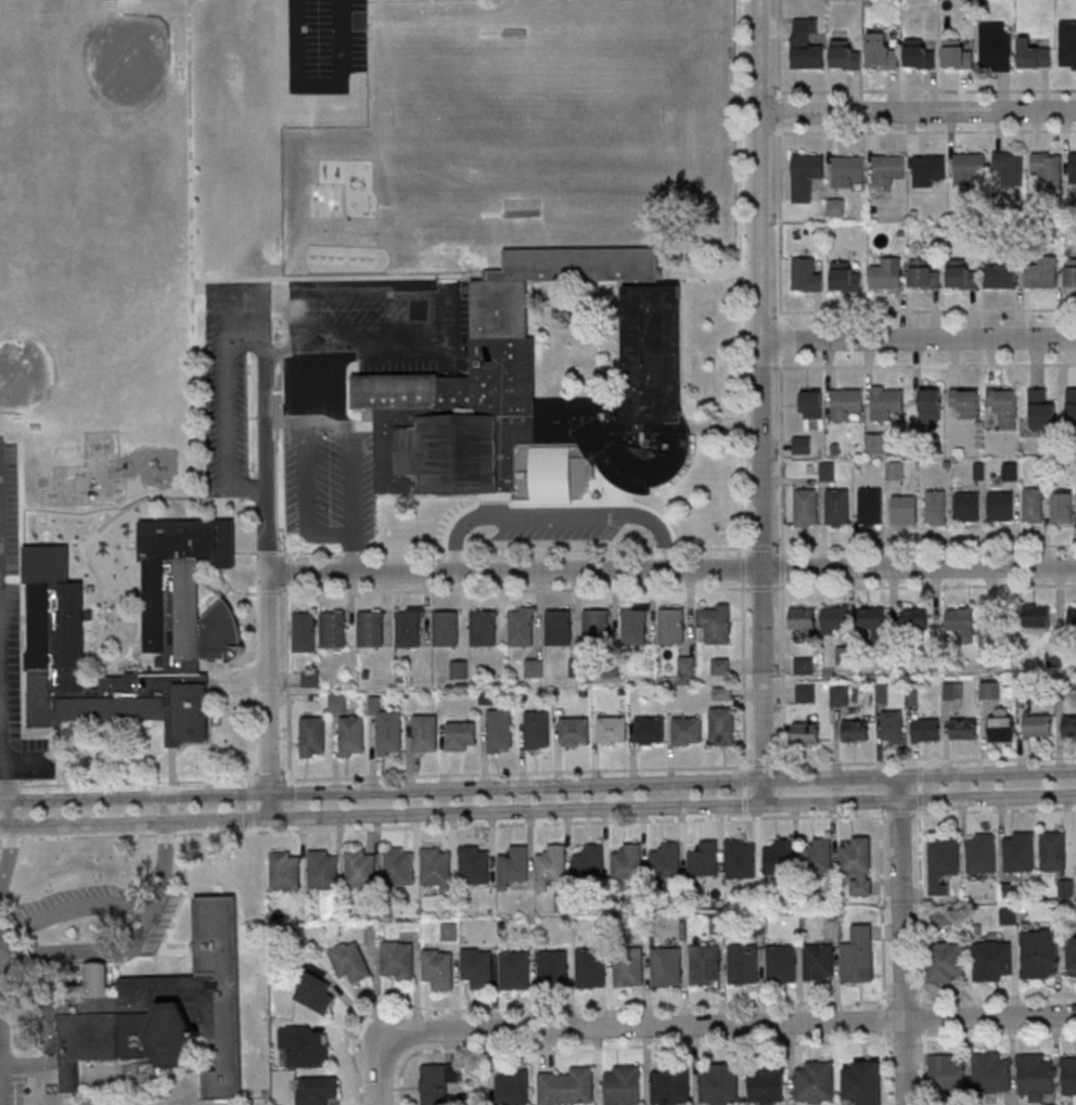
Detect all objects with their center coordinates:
parking lot: (325, 44)
building: (805, 44)
building: (1067, 44)
building: (995, 48)
road: (778, 49)
building: (881, 50)
park: (130, 52)
building: (957, 53)
building: (844, 54)
building: (919, 54)
building: (1033, 54)
park: (126, 62)
road: (319, 85)
road: (927, 90)
road: (919, 111)
road: (779, 112)
park: (528, 118)
road: (924, 131)
road: (759, 133)
road: (743, 134)
building: (969, 167)
building: (1046, 167)
building: (1073, 167)
building: (1009, 168)
building: (887, 169)
building: (928, 169)
building: (847, 170)
building: (806, 175)
park: (325, 200)
building: (836, 207)
road: (779, 226)
road: (191, 249)
building: (1042, 272)
road: (703, 273)
building: (886, 273)
building: (1002, 273)
building: (806, 274)
building: (923, 274)
building: (961, 274)
building: (1071, 275)
building: (845, 277)
road: (340, 278)
road: (739, 278)
road: (424, 288)
road: (924, 311)
road: (744, 312)
road: (760, 312)
road: (226, 313)
parking lot: (385, 327)
road: (919, 336)
road: (247, 337)
road: (781, 339)
building: (502, 355)
road: (265, 356)
road: (924, 364)
road: (760, 367)
road: (744, 368)
park: (25, 371)
parking lot: (230, 378)
road: (763, 389)
building: (965, 402)
building: (812, 403)
building: (886, 403)
building: (1071, 403)
building: (846, 404)
building: (931, 406)
building: (1004, 407)
building: (1041, 410)
road: (718, 426)
road: (227, 429)
building: (876, 442)
building: (803, 444)
road: (781, 453)
building: (895, 470)
building: (827, 471)
building: (1011, 471)
parking lot: (329, 477)
road: (276, 491)
road: (225, 500)
road: (494, 501)
road: (604, 503)
building: (1033, 504)
building: (966, 505)
building: (1001, 505)
building: (1063, 505)
building: (870, 506)
building: (936, 506)
building: (805, 507)
building: (837, 507)
road: (90, 509)
road: (22, 510)
road: (142, 510)
building: (904, 510)
road: (219, 511)
road: (56, 512)
road: (558, 515)
road: (452, 521)
road: (106, 522)
parking lot: (558, 528)
road: (46, 536)
road: (342, 537)
road: (924, 545)
road: (763, 549)
road: (515, 551)
road: (244, 552)
road: (267, 552)
road: (351, 555)
road: (293, 556)
road: (87, 561)
road: (742, 567)
road: (782, 567)
road: (672, 569)
road: (79, 570)
road: (132, 573)
road: (293, 573)
road: (11, 579)
road: (925, 584)
building: (89, 588)
road: (232, 588)
road: (293, 589)
road: (763, 589)
road: (514, 590)
road: (267, 592)
building: (1038, 615)
building: (1072, 616)
building: (835, 618)
building: (914, 618)
building: (872, 619)
road: (88, 621)
building: (715, 621)
building: (803, 622)
building: (962, 622)
road: (124, 626)
building: (409, 626)
building: (523, 626)
building: (635, 626)
building: (671, 626)
building: (559, 627)
building: (372, 628)
building: (446, 628)
building: (484, 628)
building: (597, 628)
building: (333, 629)
building: (192, 631)
building: (305, 631)
building: (992, 634)
parking lot: (14, 641)
road: (88, 643)
building: (687, 665)
building: (720, 665)
building: (534, 667)
building: (460, 669)
road: (241, 672)
road: (782, 672)
road: (743, 677)
parking lot: (226, 678)
building: (310, 678)
road: (271, 682)
road: (287, 686)
building: (990, 690)
building: (722, 693)
building: (840, 694)
road: (23, 699)
building: (337, 704)
building: (1001, 724)
building: (721, 725)
building: (892, 725)
building: (1037, 725)
building: (1069, 725)
building: (387, 728)
building: (963, 728)
road: (57, 729)
building: (537, 729)
building: (926, 729)
building: (500, 730)
building: (612, 730)
building: (649, 730)
building: (687, 730)
building: (856, 730)
building: (574, 731)
building: (425, 732)
building: (806, 733)
building: (461, 735)
building: (312, 736)
building: (351, 736)
road: (928, 760)
road: (30, 763)
road: (920, 764)
road: (172, 766)
road: (761, 766)
road: (779, 766)
road: (515, 772)
road: (920, 772)
road: (919, 774)
road: (8, 775)
road: (268, 780)
road: (743, 780)
road: (127, 783)
road: (248, 783)
road: (575, 783)
road: (919, 786)
road: (330, 789)
road: (765, 792)
road: (222, 793)
road: (743, 793)
road: (248, 794)
road: (85, 797)
road: (919, 800)
road: (921, 800)
road: (743, 805)
road: (274, 806)
road: (248, 807)
road: (169, 809)
road: (994, 810)
road: (575, 811)
road: (10, 813)
road: (899, 813)
road: (743, 815)
road: (248, 818)
road: (330, 818)
road: (221, 821)
road: (89, 825)
road: (443, 827)
road: (5, 828)
road: (249, 830)
building: (1054, 850)
building: (1017, 851)
building: (982, 852)
building: (817, 855)
road: (5, 856)
building: (779, 857)
building: (741, 858)
building: (704, 859)
building: (666, 860)
building: (590, 861)
building: (627, 861)
building: (943, 862)
building: (474, 864)
building: (858, 864)
building: (399, 865)
building: (513, 865)
building: (551, 865)
building: (361, 868)
building: (437, 868)
building: (323, 869)
building: (285, 870)
road: (164, 872)
building: (1066, 888)
road: (74, 904)
road: (920, 908)
road: (881, 911)
road: (901, 939)
parking lot: (75, 948)
road: (84, 952)
building: (858, 955)
building: (1040, 955)
building: (1072, 955)
building: (992, 960)
building: (350, 962)
building: (819, 963)
building: (945, 963)
building: (705, 964)
building: (398, 965)
building: (553, 965)
building: (743, 965)
building: (781, 965)
building: (477, 966)
building: (666, 966)
building: (590, 967)
building: (438, 969)
building: (515, 969)
building: (629, 969)
building: (316, 993)
road: (996, 997)
road: (904, 1000)
road: (569, 1006)
building: (157, 1011)
road: (923, 1018)
road: (883, 1020)
road: (734, 1023)
road: (996, 1037)
road: (904, 1040)
building: (305, 1045)
road: (624, 1046)
road: (884, 1068)
road: (924, 1068)
road: (387, 1071)
building: (991, 1072)
building: (946, 1074)
building: (1036, 1076)
building: (1068, 1076)
building: (438, 1082)
building: (864, 1082)
building: (718, 1083)
building: (768, 1083)
building: (815, 1083)
building: (623, 1084)
building: (566, 1085)
building: (670, 1085)
building: (512, 1087)
building: (317, 1090)

